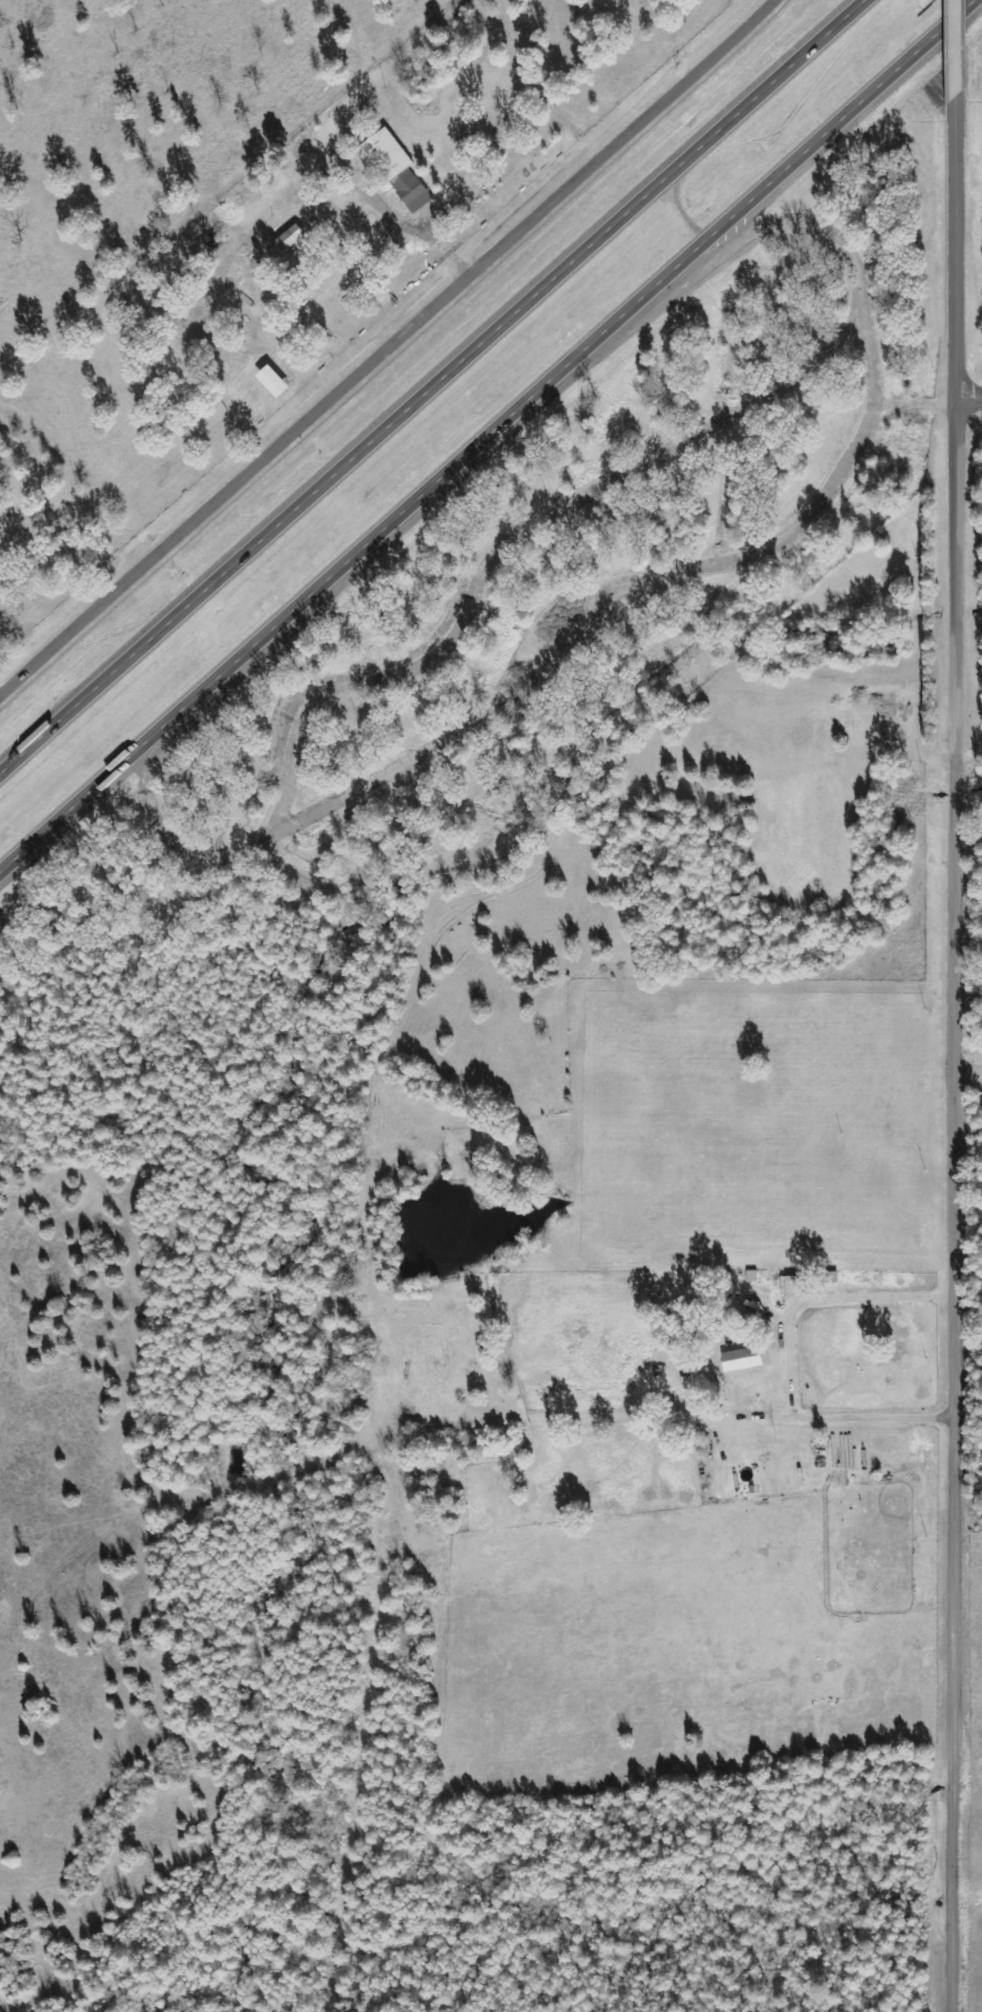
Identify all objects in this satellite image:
road: (957, 39)
building: (397, 168)
road: (688, 219)
road: (793, 233)
road: (958, 244)
road: (389, 348)
building: (278, 381)
road: (436, 391)
road: (970, 406)
road: (492, 444)
road: (528, 538)
road: (651, 602)
road: (171, 828)
road: (961, 1210)
building: (797, 1283)
building: (746, 1358)
road: (698, 1412)
road: (321, 1967)

